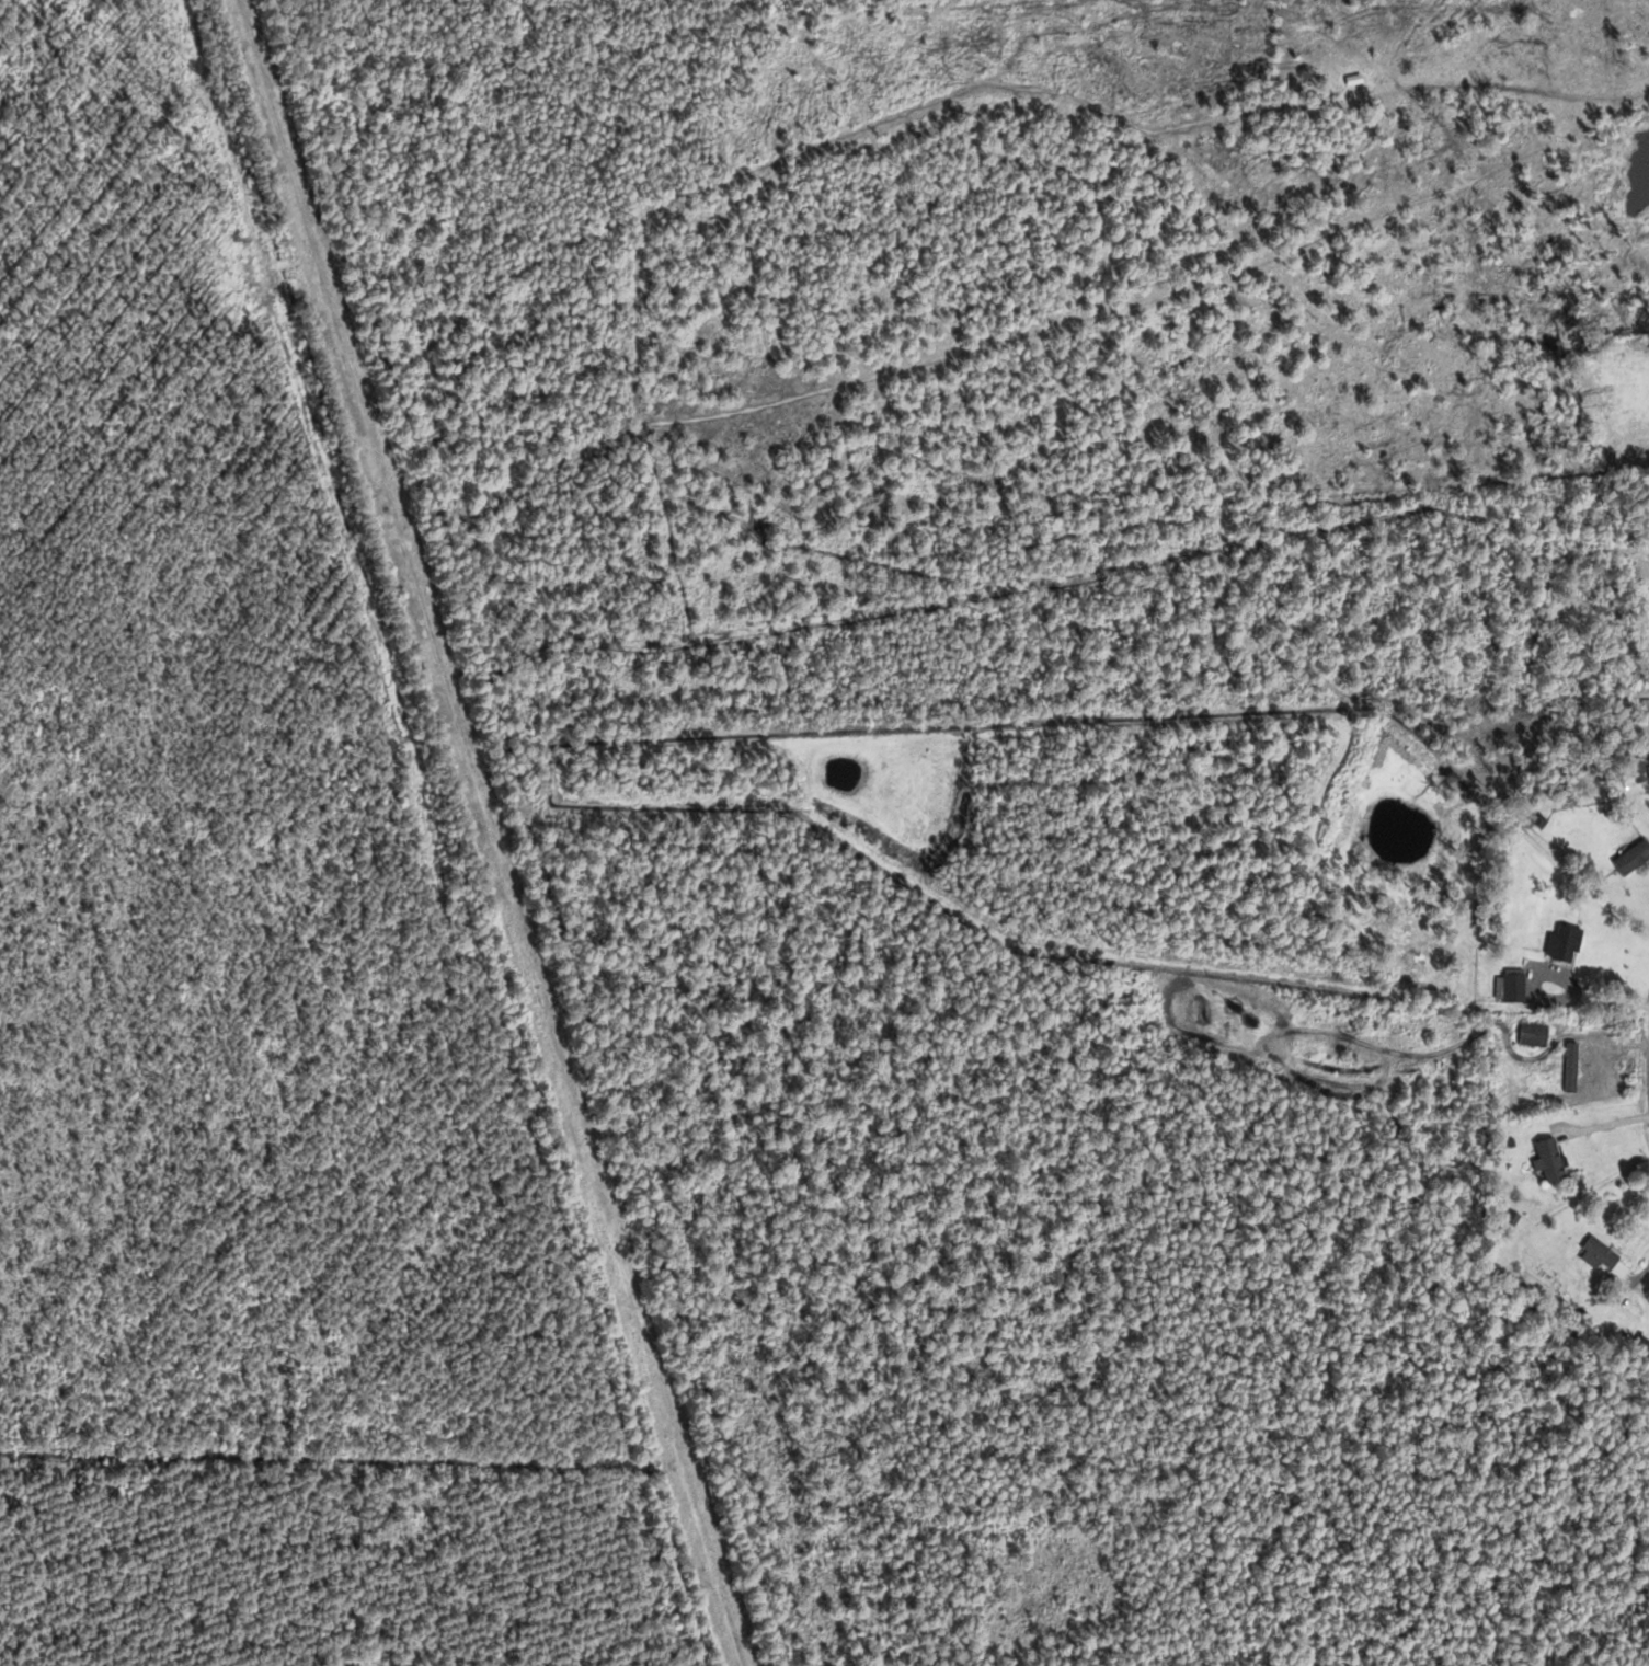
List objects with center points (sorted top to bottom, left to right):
building: (1518, 985)
building: (1534, 1033)
building: (1557, 1164)
building: (1611, 1255)
road: (1617, 1467)

